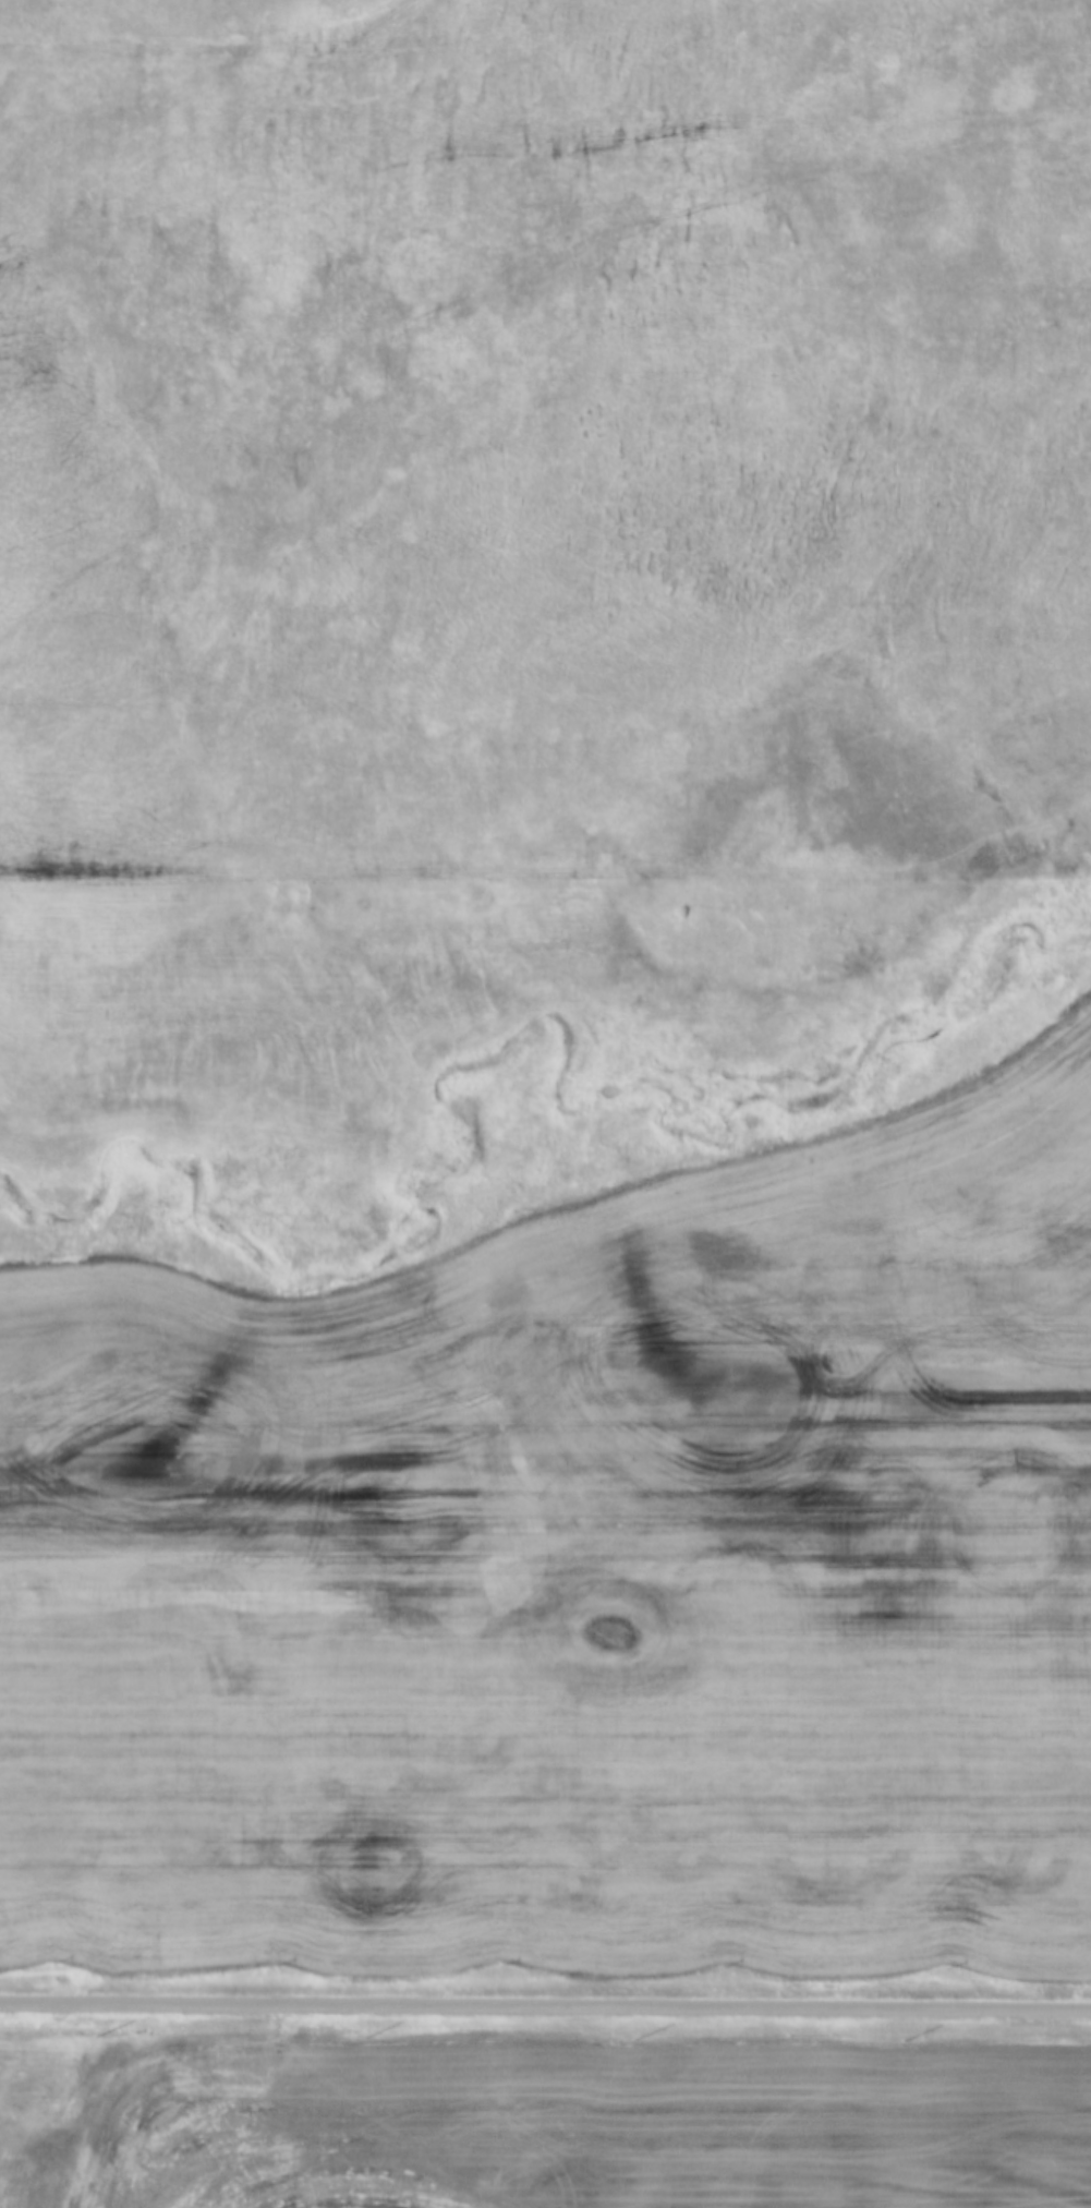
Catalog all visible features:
road: (545, 2001)

